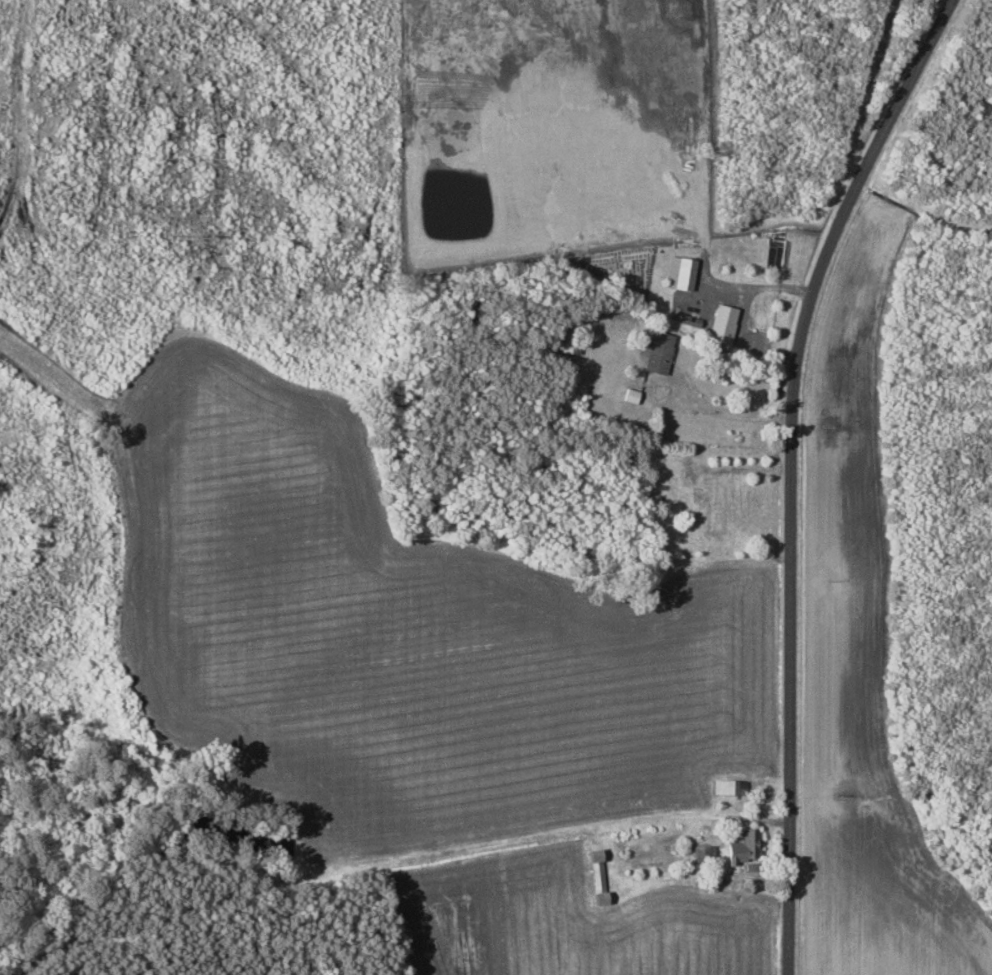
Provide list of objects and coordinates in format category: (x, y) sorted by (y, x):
building: (683, 273)
road: (742, 313)
building: (721, 323)
building: (656, 352)
road: (731, 413)
road: (798, 469)
building: (728, 787)
building: (743, 846)
building: (704, 855)
building: (597, 878)

